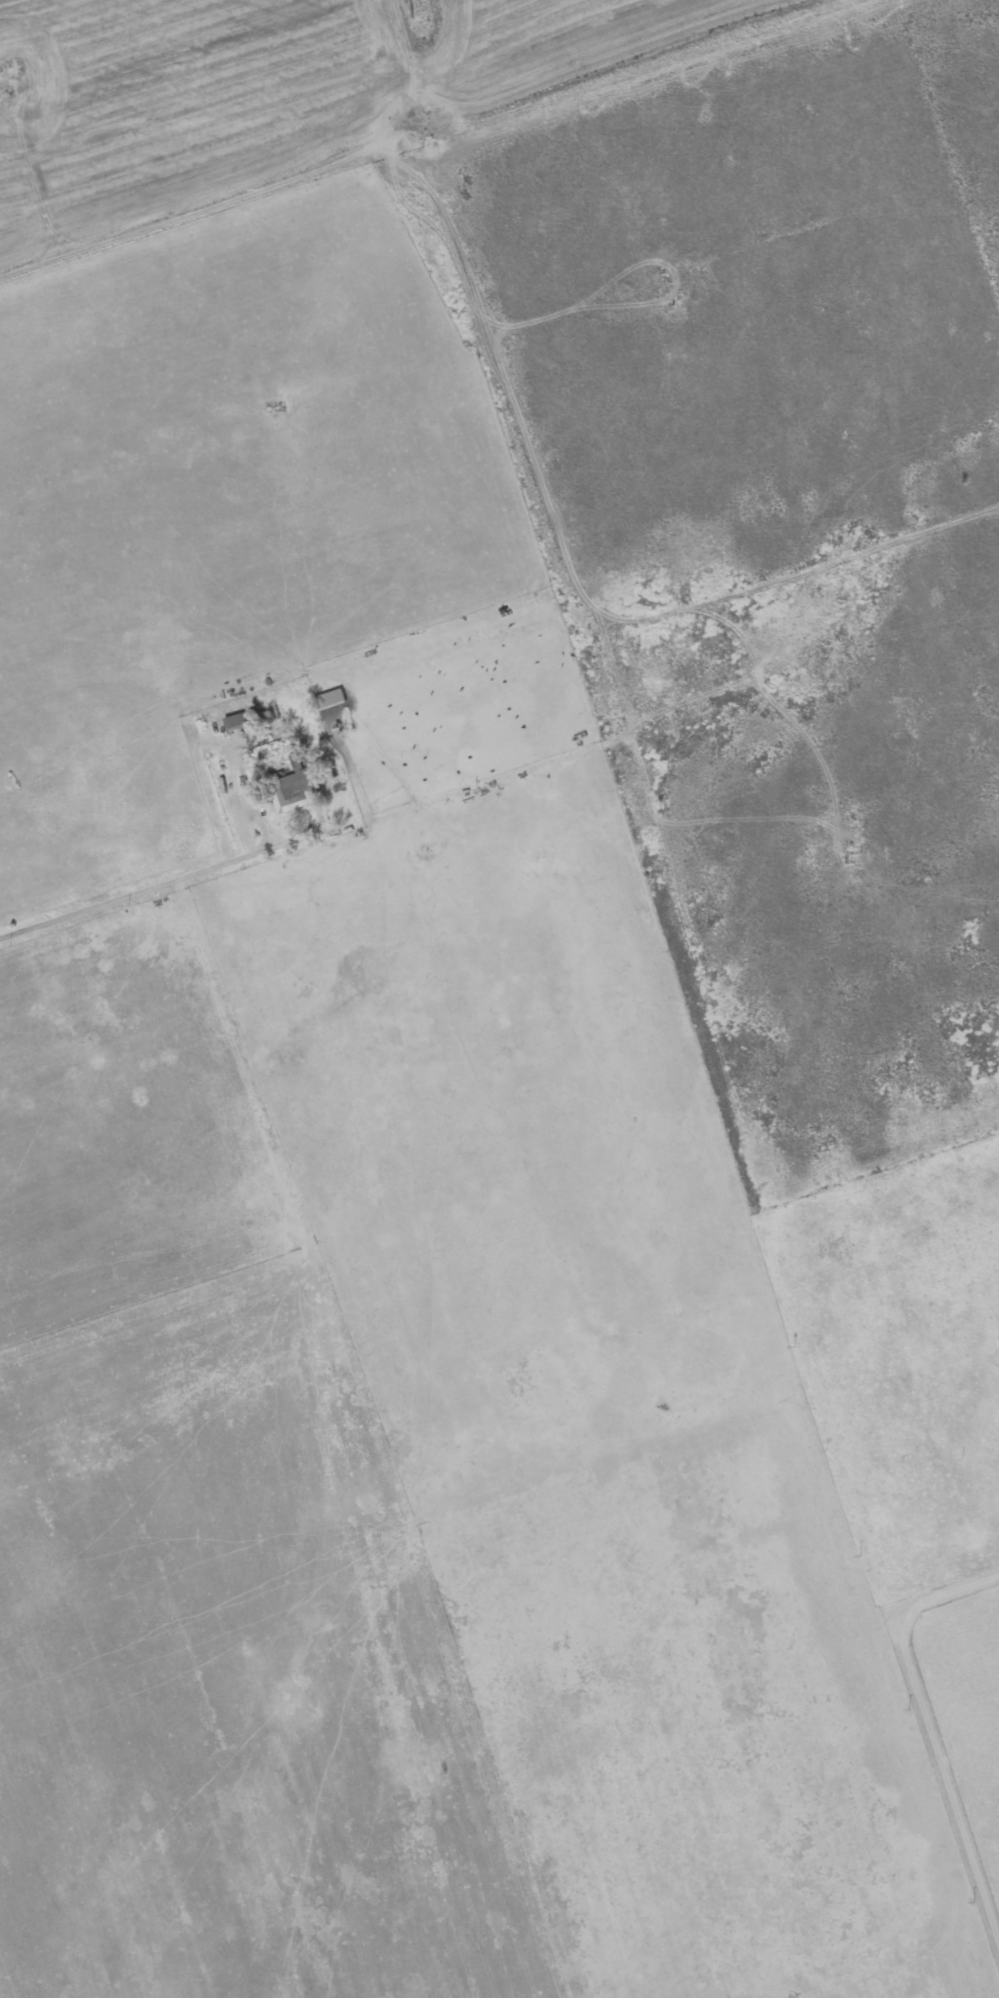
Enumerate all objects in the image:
building: (333, 701)
building: (299, 785)
road: (519, 785)
road: (945, 1720)

